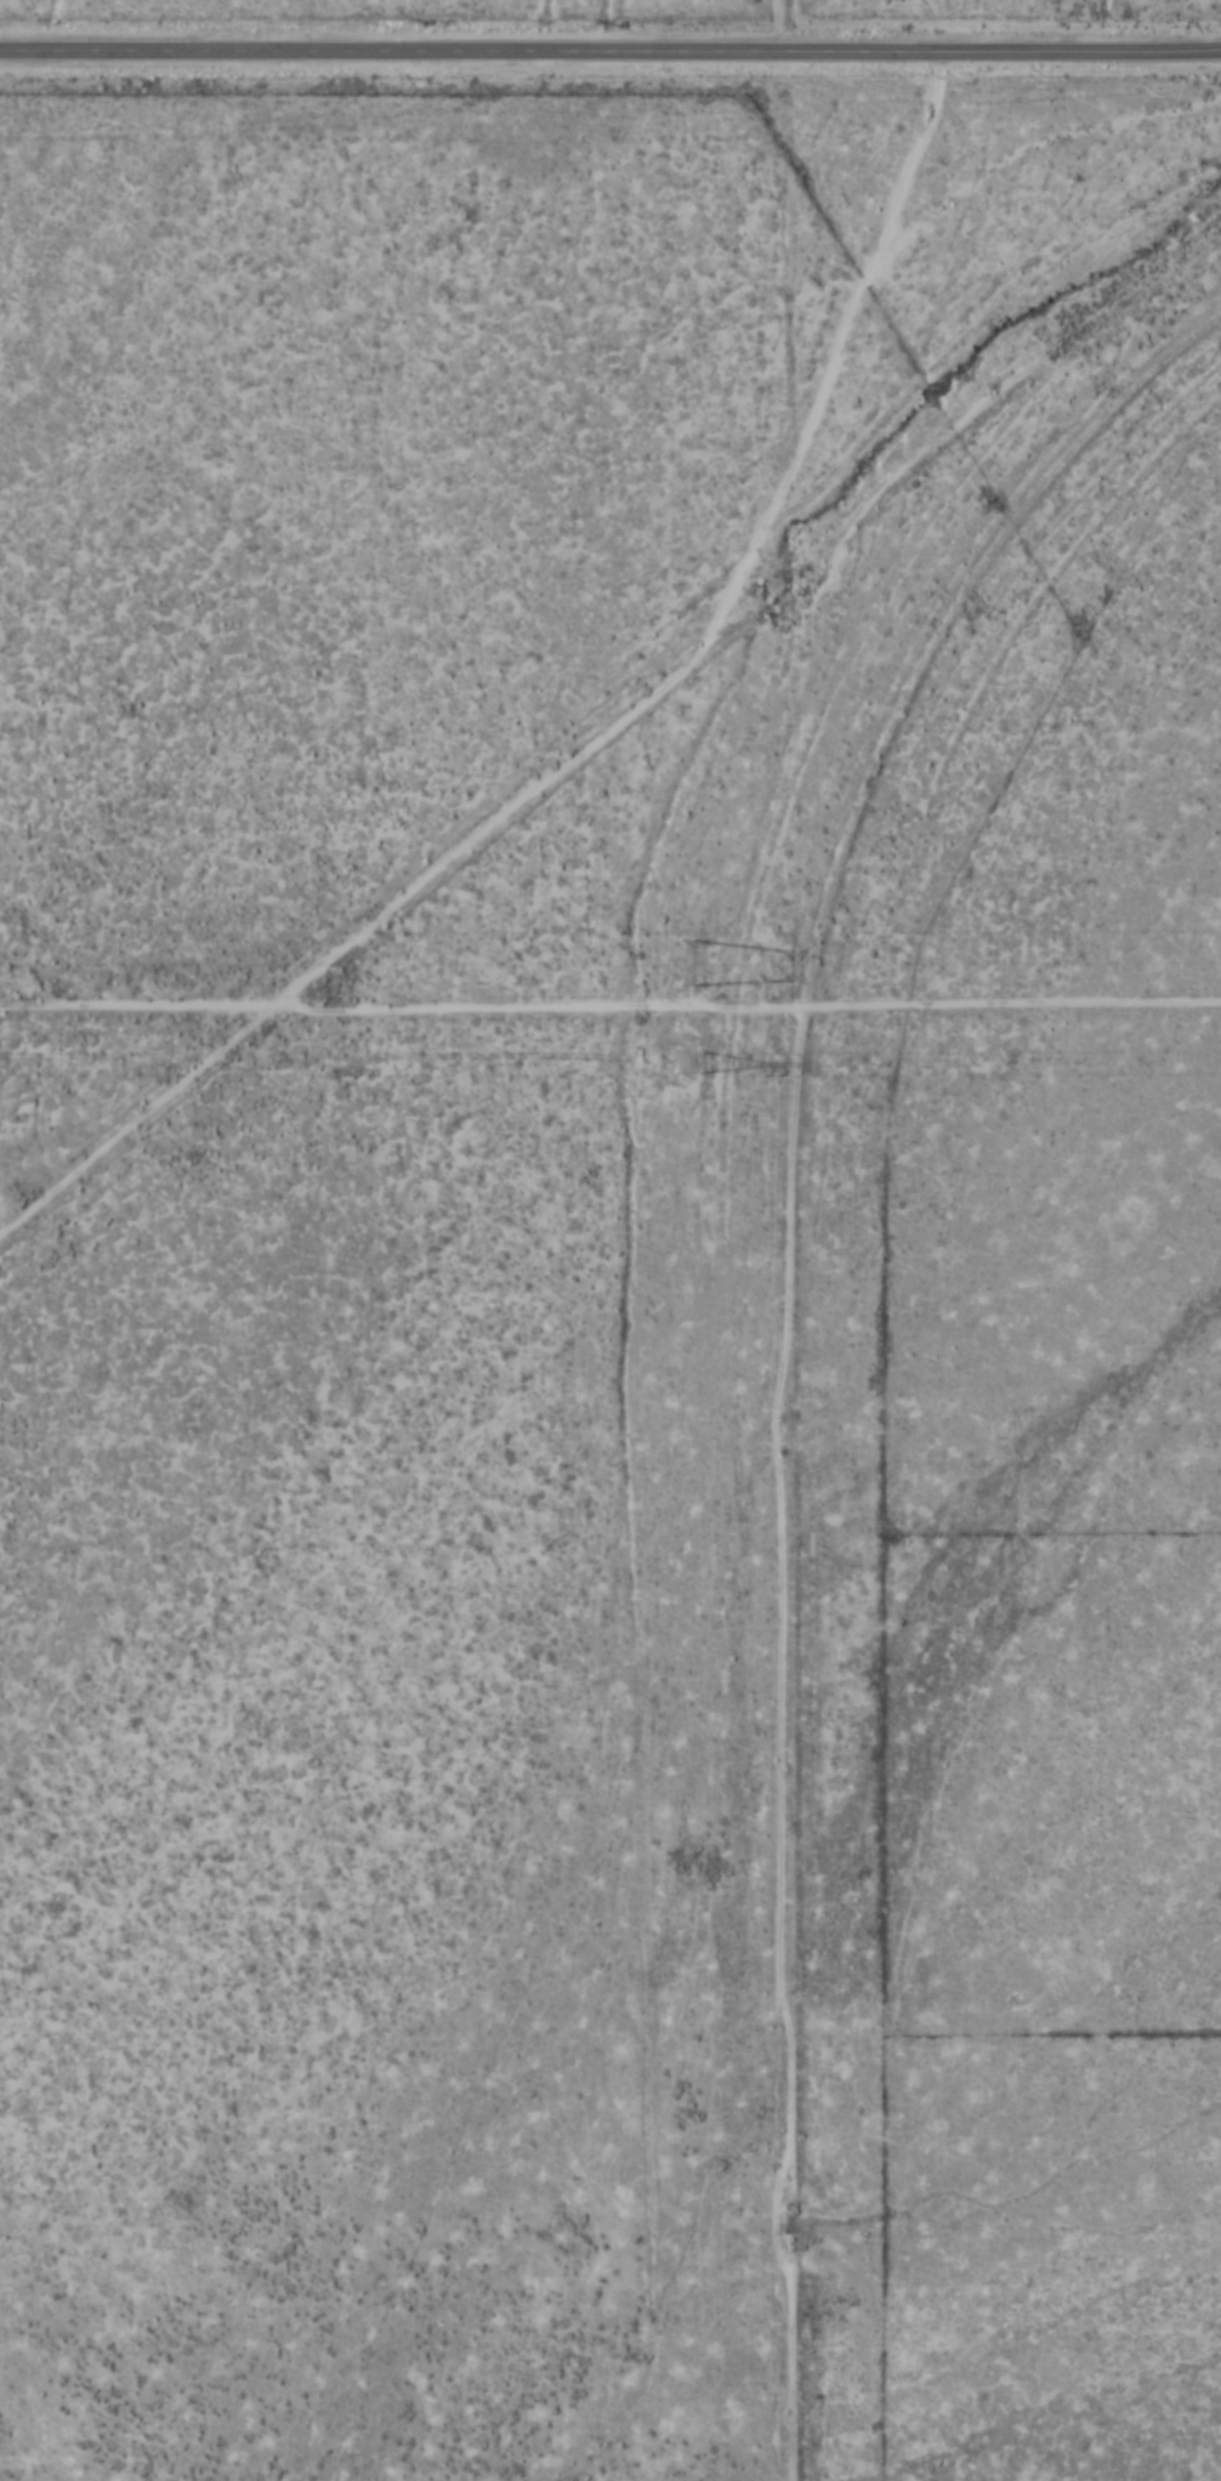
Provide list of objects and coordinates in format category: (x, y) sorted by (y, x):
road: (782, 24)
road: (610, 49)
power tower: (704, 966)
power tower: (695, 1063)

